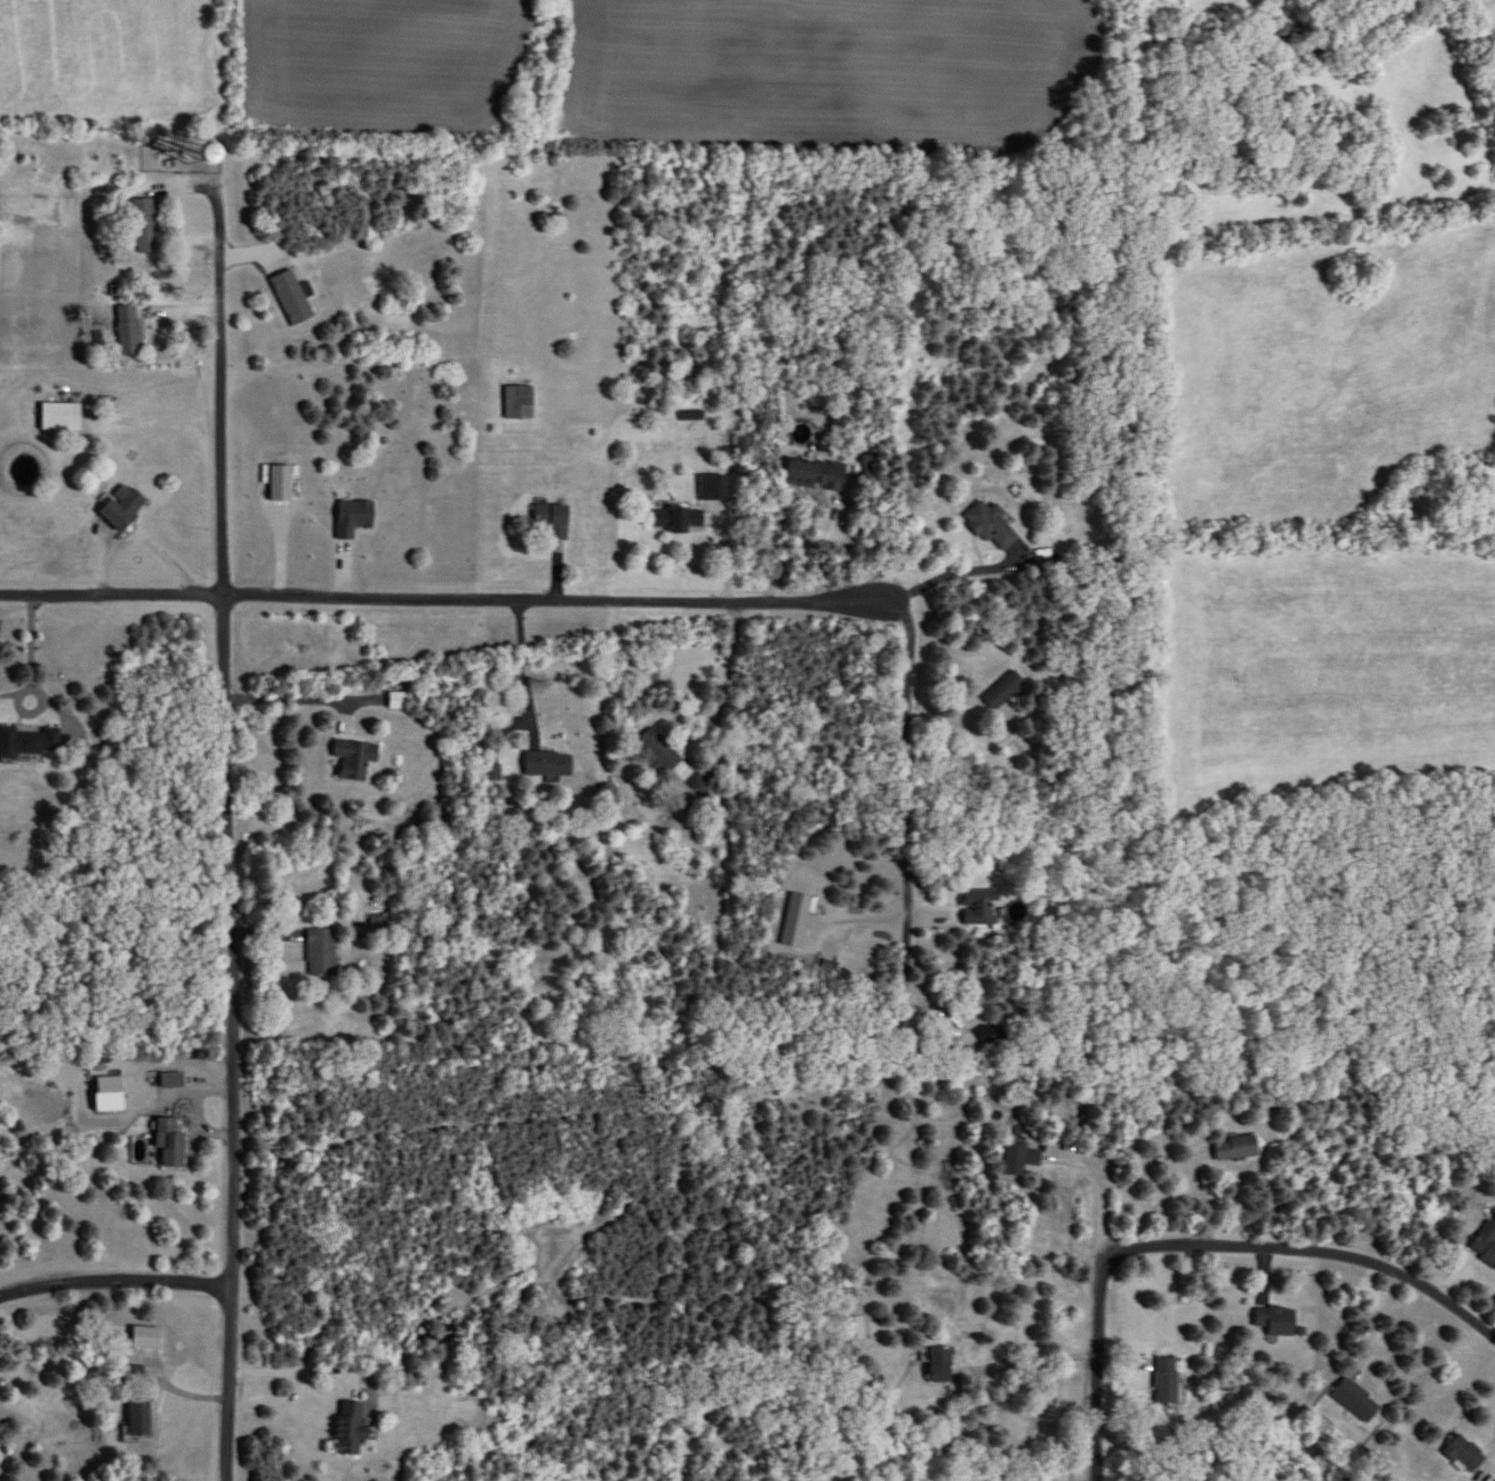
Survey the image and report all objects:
water tower: (197, 154)
building: (194, 155)
building: (145, 225)
building: (292, 297)
building: (128, 330)
building: (519, 403)
building: (62, 417)
building: (815, 474)
building: (714, 488)
building: (123, 508)
building: (678, 520)
building: (553, 521)
building: (992, 526)
road: (110, 530)
road: (805, 547)
road: (958, 569)
road: (679, 602)
road: (29, 645)
road: (524, 664)
road: (727, 679)
building: (1005, 690)
road: (298, 699)
building: (398, 700)
road: (975, 736)
building: (29, 740)
building: (663, 752)
building: (355, 757)
building: (548, 763)
building: (492, 773)
road: (231, 825)
building: (979, 906)
building: (322, 952)
building: (172, 1079)
building: (110, 1084)
building: (171, 1144)
building: (1236, 1148)
building: (1021, 1157)
road: (1099, 1186)
building: (1486, 1244)
road: (1309, 1249)
road: (115, 1283)
road: (1099, 1301)
building: (1277, 1320)
building: (855, 1323)
road: (1378, 1324)
road: (1035, 1364)
building: (942, 1365)
road: (297, 1370)
building: (1167, 1380)
building: (1357, 1400)
road: (1096, 1419)
building: (138, 1420)
building: (350, 1429)
building: (1466, 1455)
road: (880, 1461)

